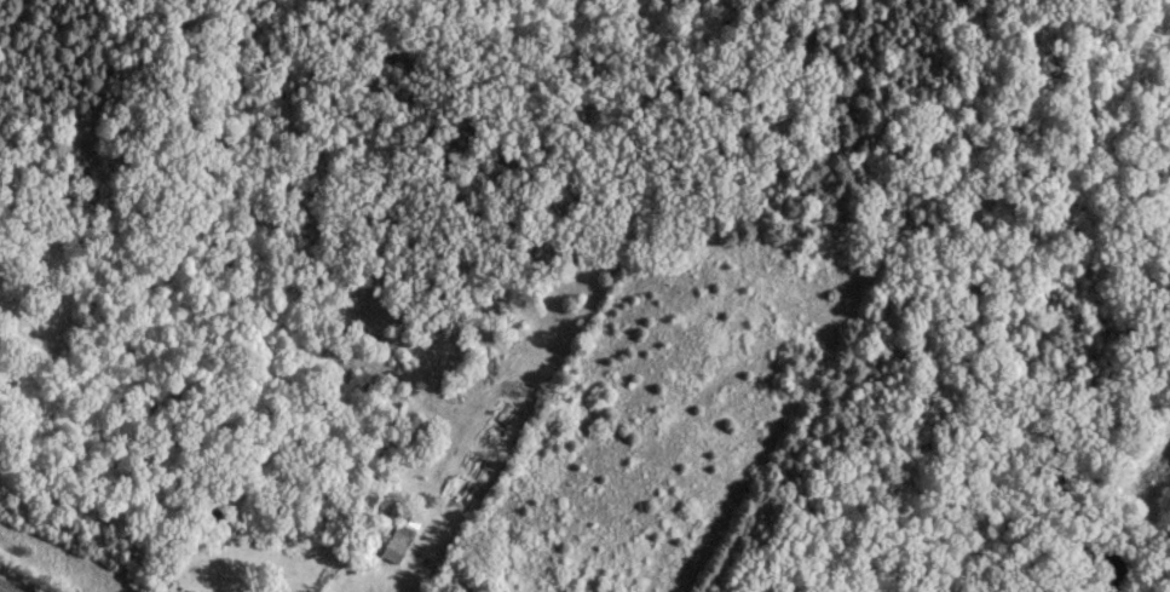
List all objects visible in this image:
building: (396, 541)
road: (5, 588)

